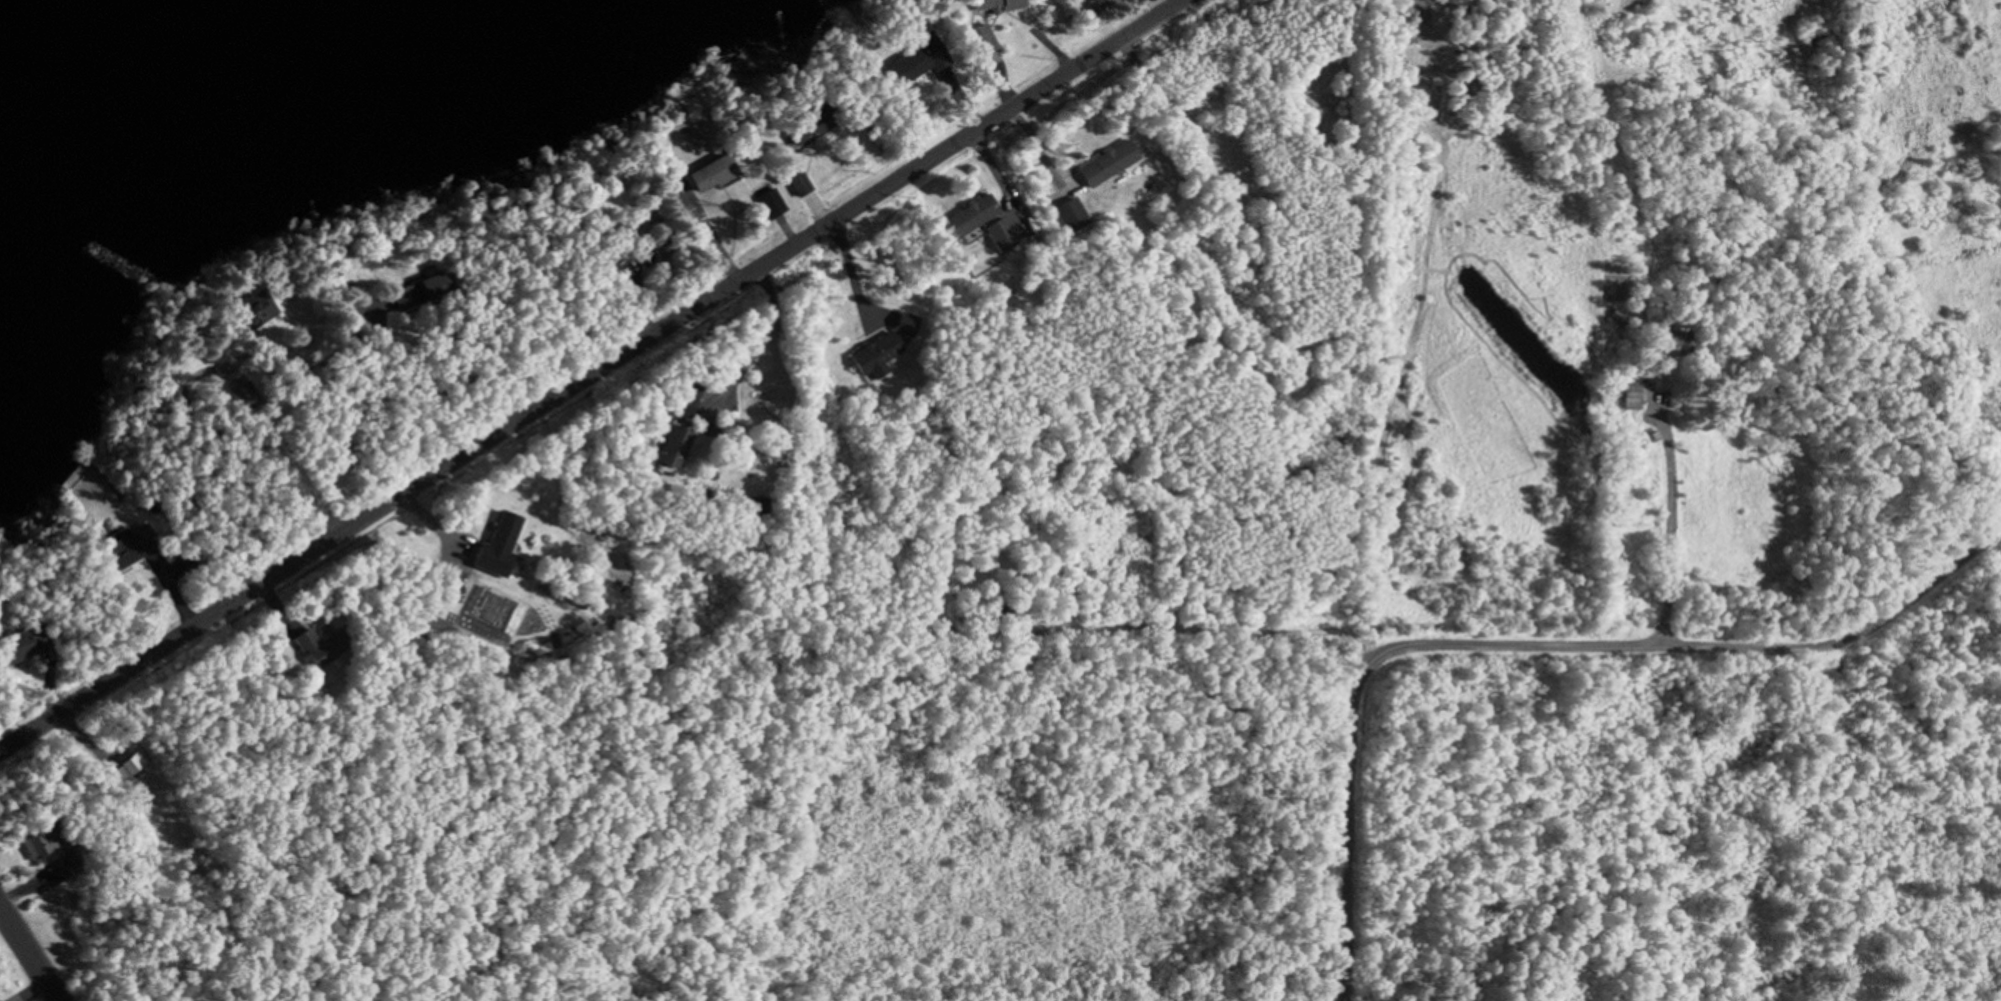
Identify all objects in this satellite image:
building: (995, 4)
building: (979, 39)
building: (918, 57)
building: (811, 124)
building: (1108, 161)
building: (712, 173)
building: (798, 183)
building: (769, 202)
building: (1071, 214)
building: (970, 216)
building: (641, 222)
building: (1000, 233)
building: (664, 246)
building: (626, 268)
building: (422, 289)
building: (255, 308)
building: (1616, 316)
building: (904, 323)
building: (1674, 343)
building: (875, 354)
road: (589, 377)
building: (244, 394)
building: (1630, 395)
building: (687, 397)
building: (672, 445)
building: (758, 505)
road: (1671, 523)
building: (497, 544)
building: (133, 545)
building: (190, 557)
building: (24, 640)
building: (319, 644)
road: (1528, 644)
building: (37, 845)
building: (72, 853)
road: (28, 954)

